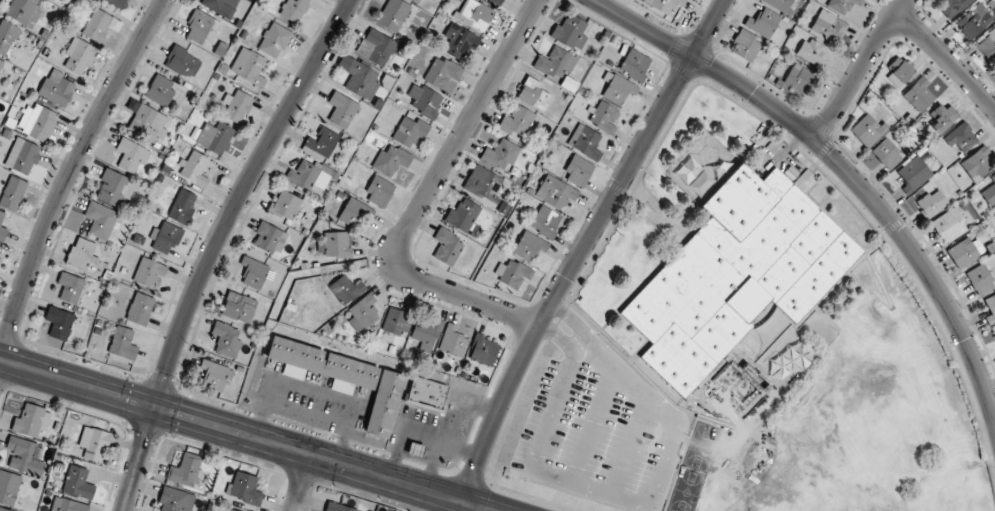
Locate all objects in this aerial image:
building: (416, 1)
building: (498, 1)
building: (116, 2)
building: (663, 4)
building: (779, 4)
building: (219, 5)
building: (842, 5)
building: (950, 6)
building: (293, 9)
building: (24, 11)
building: (475, 14)
building: (392, 15)
building: (973, 20)
building: (763, 22)
building: (97, 25)
building: (829, 25)
building: (201, 26)
building: (570, 32)
building: (8, 35)
building: (458, 39)
building: (274, 40)
building: (987, 45)
building: (746, 46)
building: (375, 47)
building: (811, 51)
building: (79, 55)
road: (947, 58)
building: (182, 62)
building: (555, 63)
building: (1, 64)
building: (634, 64)
building: (248, 66)
road: (858, 69)
building: (899, 70)
building: (441, 72)
building: (359, 77)
building: (799, 79)
building: (57, 88)
building: (617, 88)
building: (160, 90)
building: (533, 94)
building: (918, 94)
building: (424, 100)
building: (236, 106)
building: (341, 110)
building: (941, 116)
building: (603, 117)
building: (37, 121)
building: (516, 121)
building: (148, 123)
building: (867, 129)
building: (409, 131)
building: (214, 137)
building: (961, 137)
building: (585, 141)
building: (321, 143)
building: (886, 153)
building: (500, 154)
building: (131, 155)
building: (22, 156)
building: (391, 160)
building: (977, 163)
road: (841, 164)
building: (195, 169)
building: (578, 171)
building: (913, 174)
road: (68, 176)
building: (306, 176)
building: (483, 182)
building: (113, 188)
building: (555, 191)
building: (379, 192)
building: (989, 192)
building: (13, 193)
road: (427, 193)
road: (239, 197)
building: (931, 202)
building: (285, 205)
building: (182, 206)
building: (354, 213)
building: (463, 216)
building: (100, 219)
building: (545, 221)
building: (949, 225)
building: (2, 229)
building: (167, 237)
building: (269, 238)
building: (337, 244)
building: (529, 245)
building: (447, 246)
road: (580, 249)
building: (964, 251)
building: (0, 252)
building: (81, 253)
building: (148, 272)
building: (254, 273)
building: (512, 273)
building: (735, 274)
building: (979, 279)
building: (71, 288)
building: (346, 289)
building: (238, 306)
building: (140, 308)
building: (990, 308)
building: (362, 313)
building: (396, 321)
building: (59, 322)
building: (425, 330)
building: (226, 339)
building: (453, 341)
building: (122, 343)
building: (483, 350)
building: (323, 365)
building: (726, 371)
building: (213, 375)
building: (427, 394)
building: (384, 403)
traffic signals: (156, 408)
building: (31, 420)
road: (246, 435)
building: (94, 443)
building: (415, 450)
building: (24, 456)
road: (140, 459)
building: (186, 469)
building: (78, 482)
road: (302, 483)
building: (8, 488)
building: (244, 488)
building: (175, 500)
building: (68, 505)
building: (336, 507)
building: (0, 510)
building: (230, 510)

